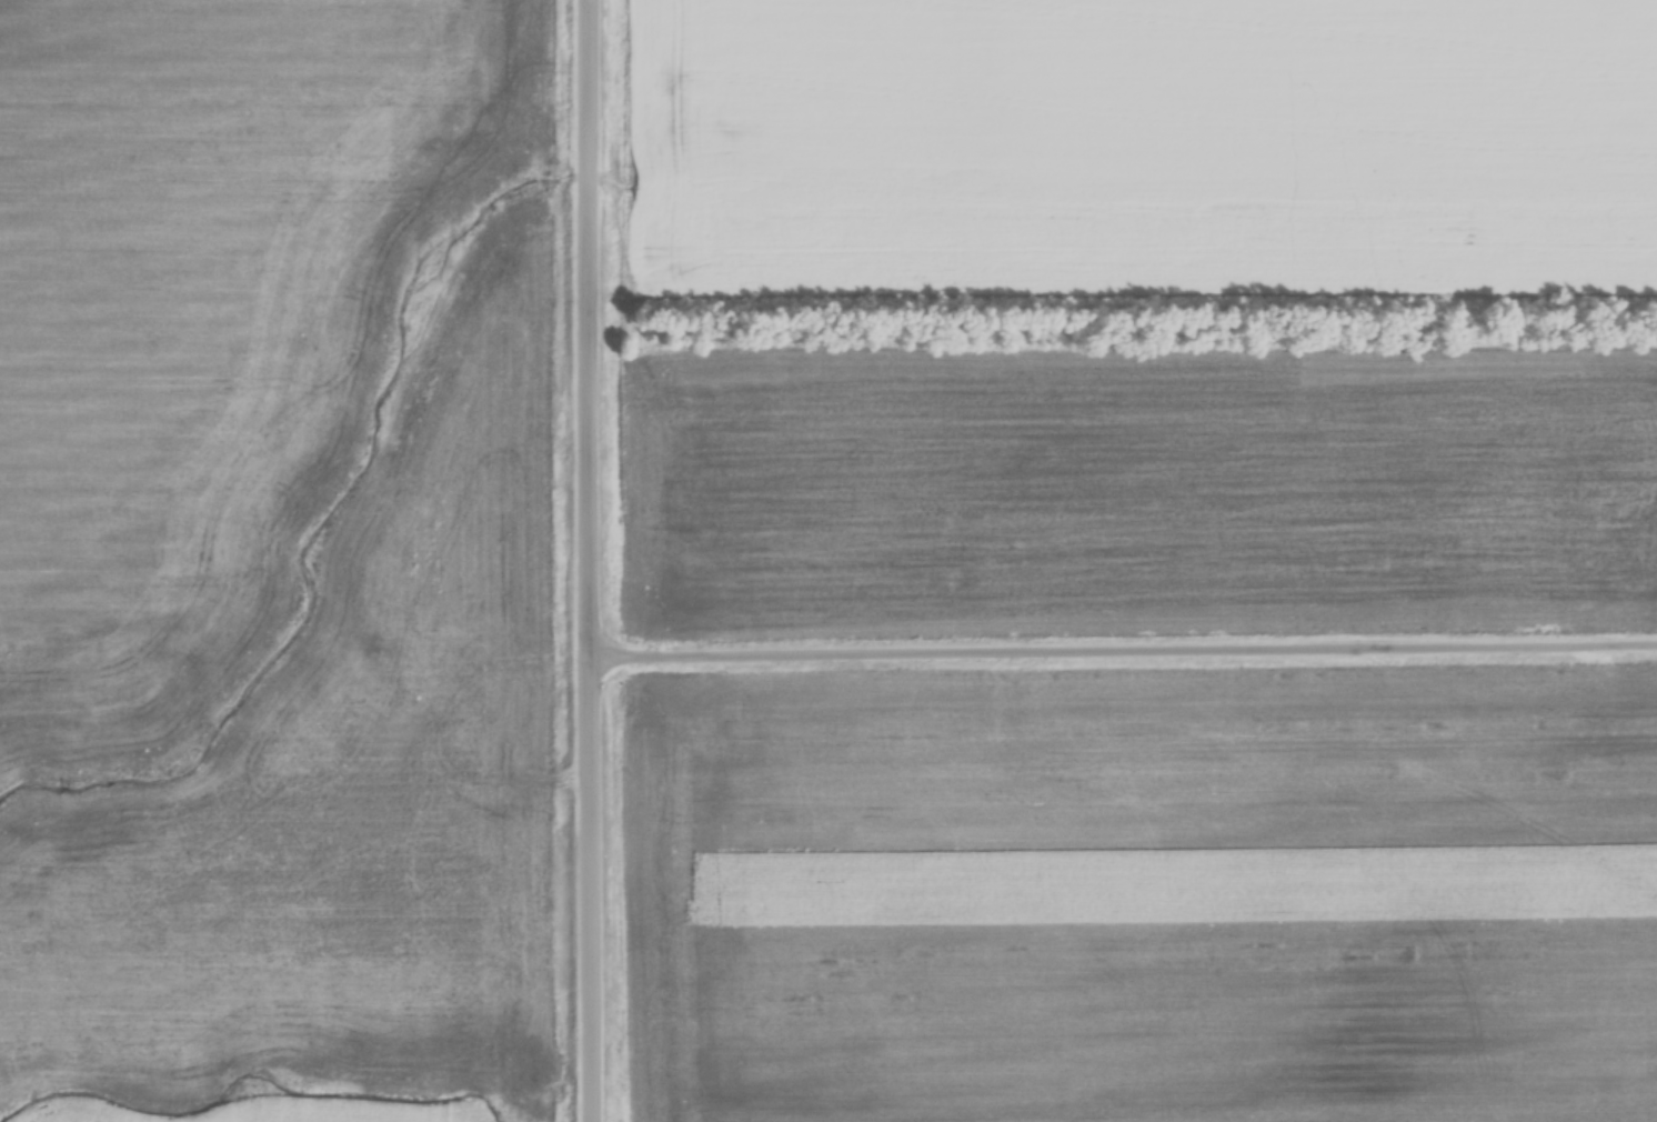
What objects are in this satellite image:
road: (595, 561)

